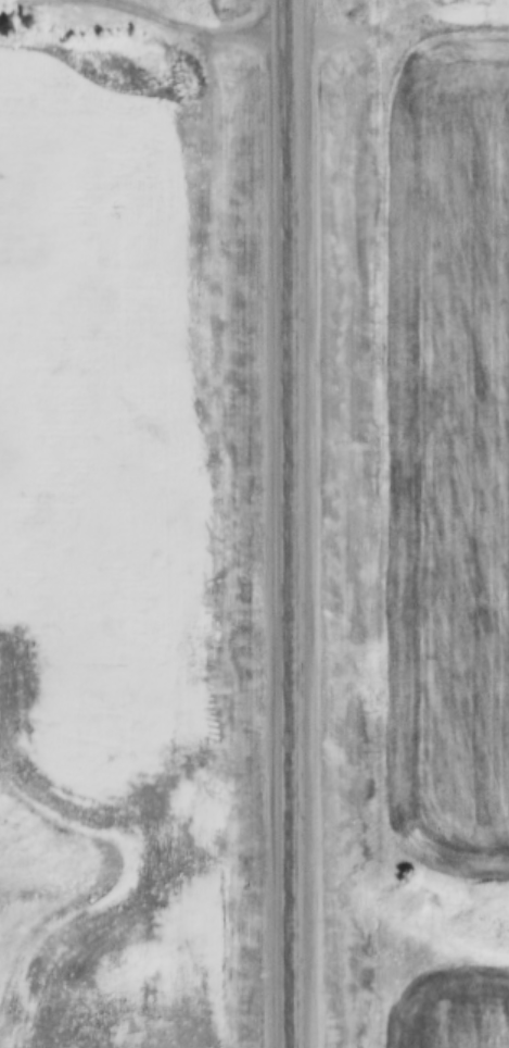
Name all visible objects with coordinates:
road: (144, 13)
road: (291, 523)

